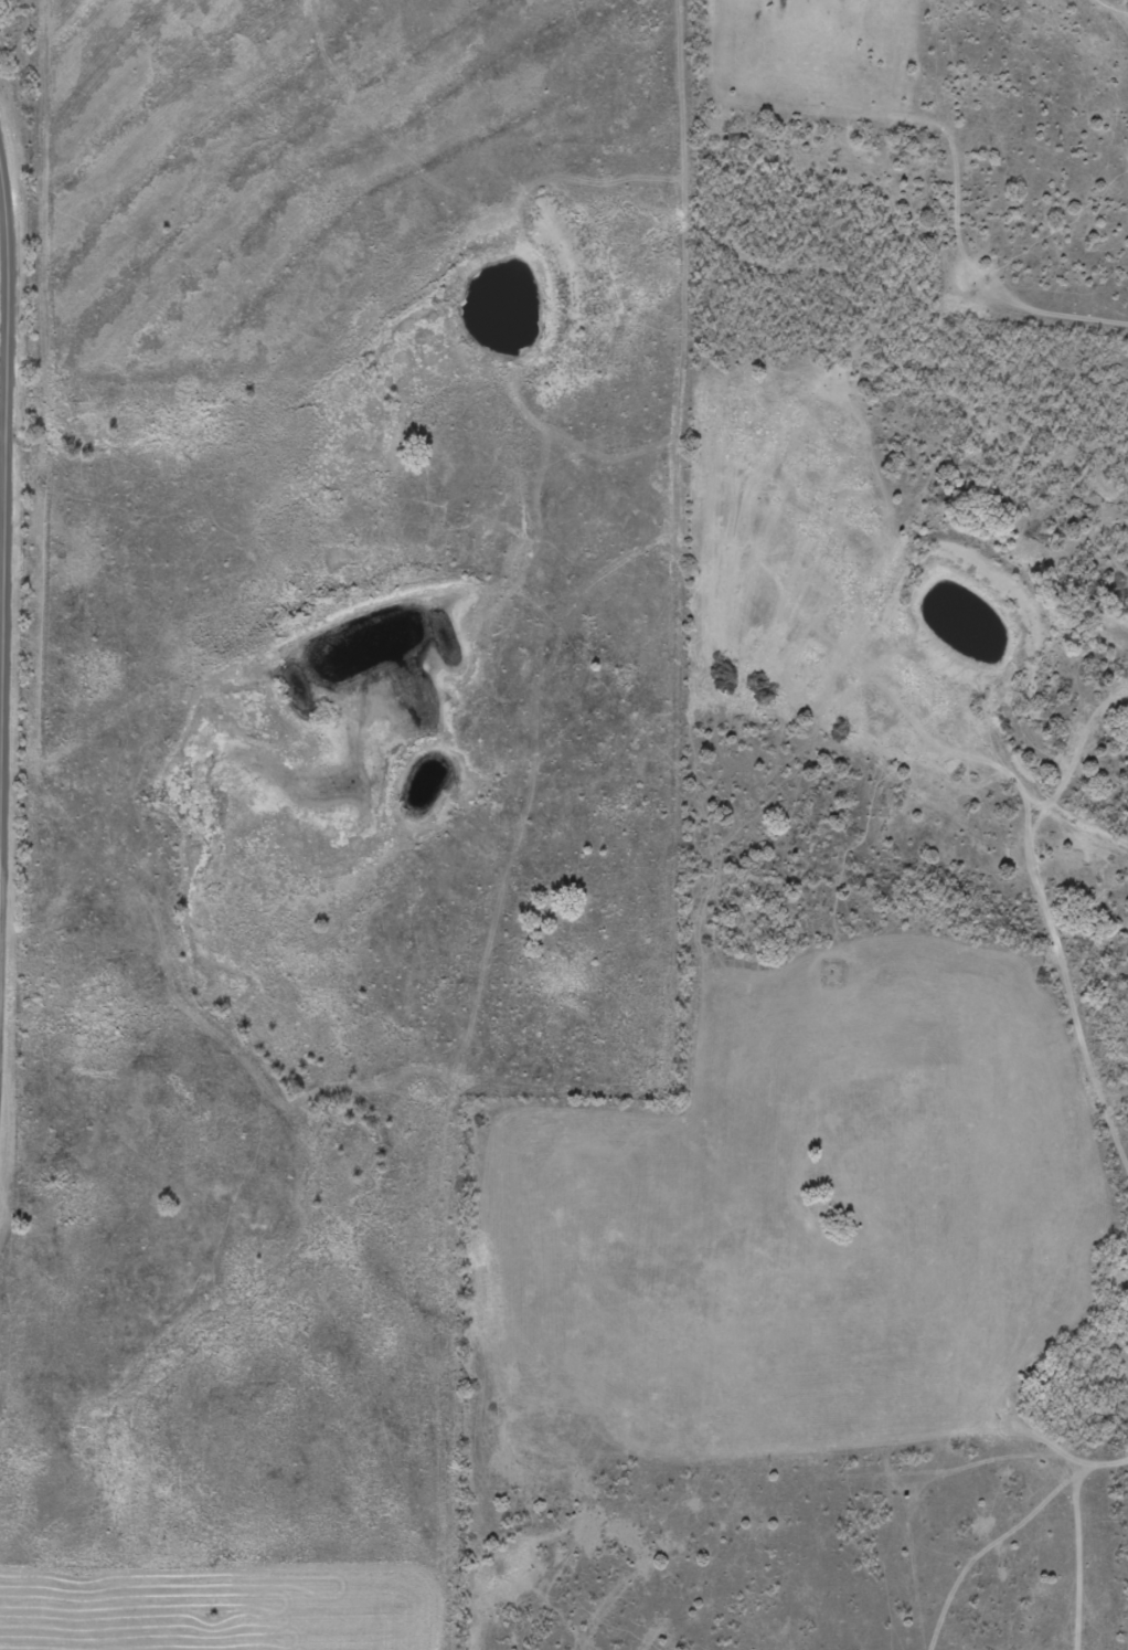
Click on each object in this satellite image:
road: (4, 525)

